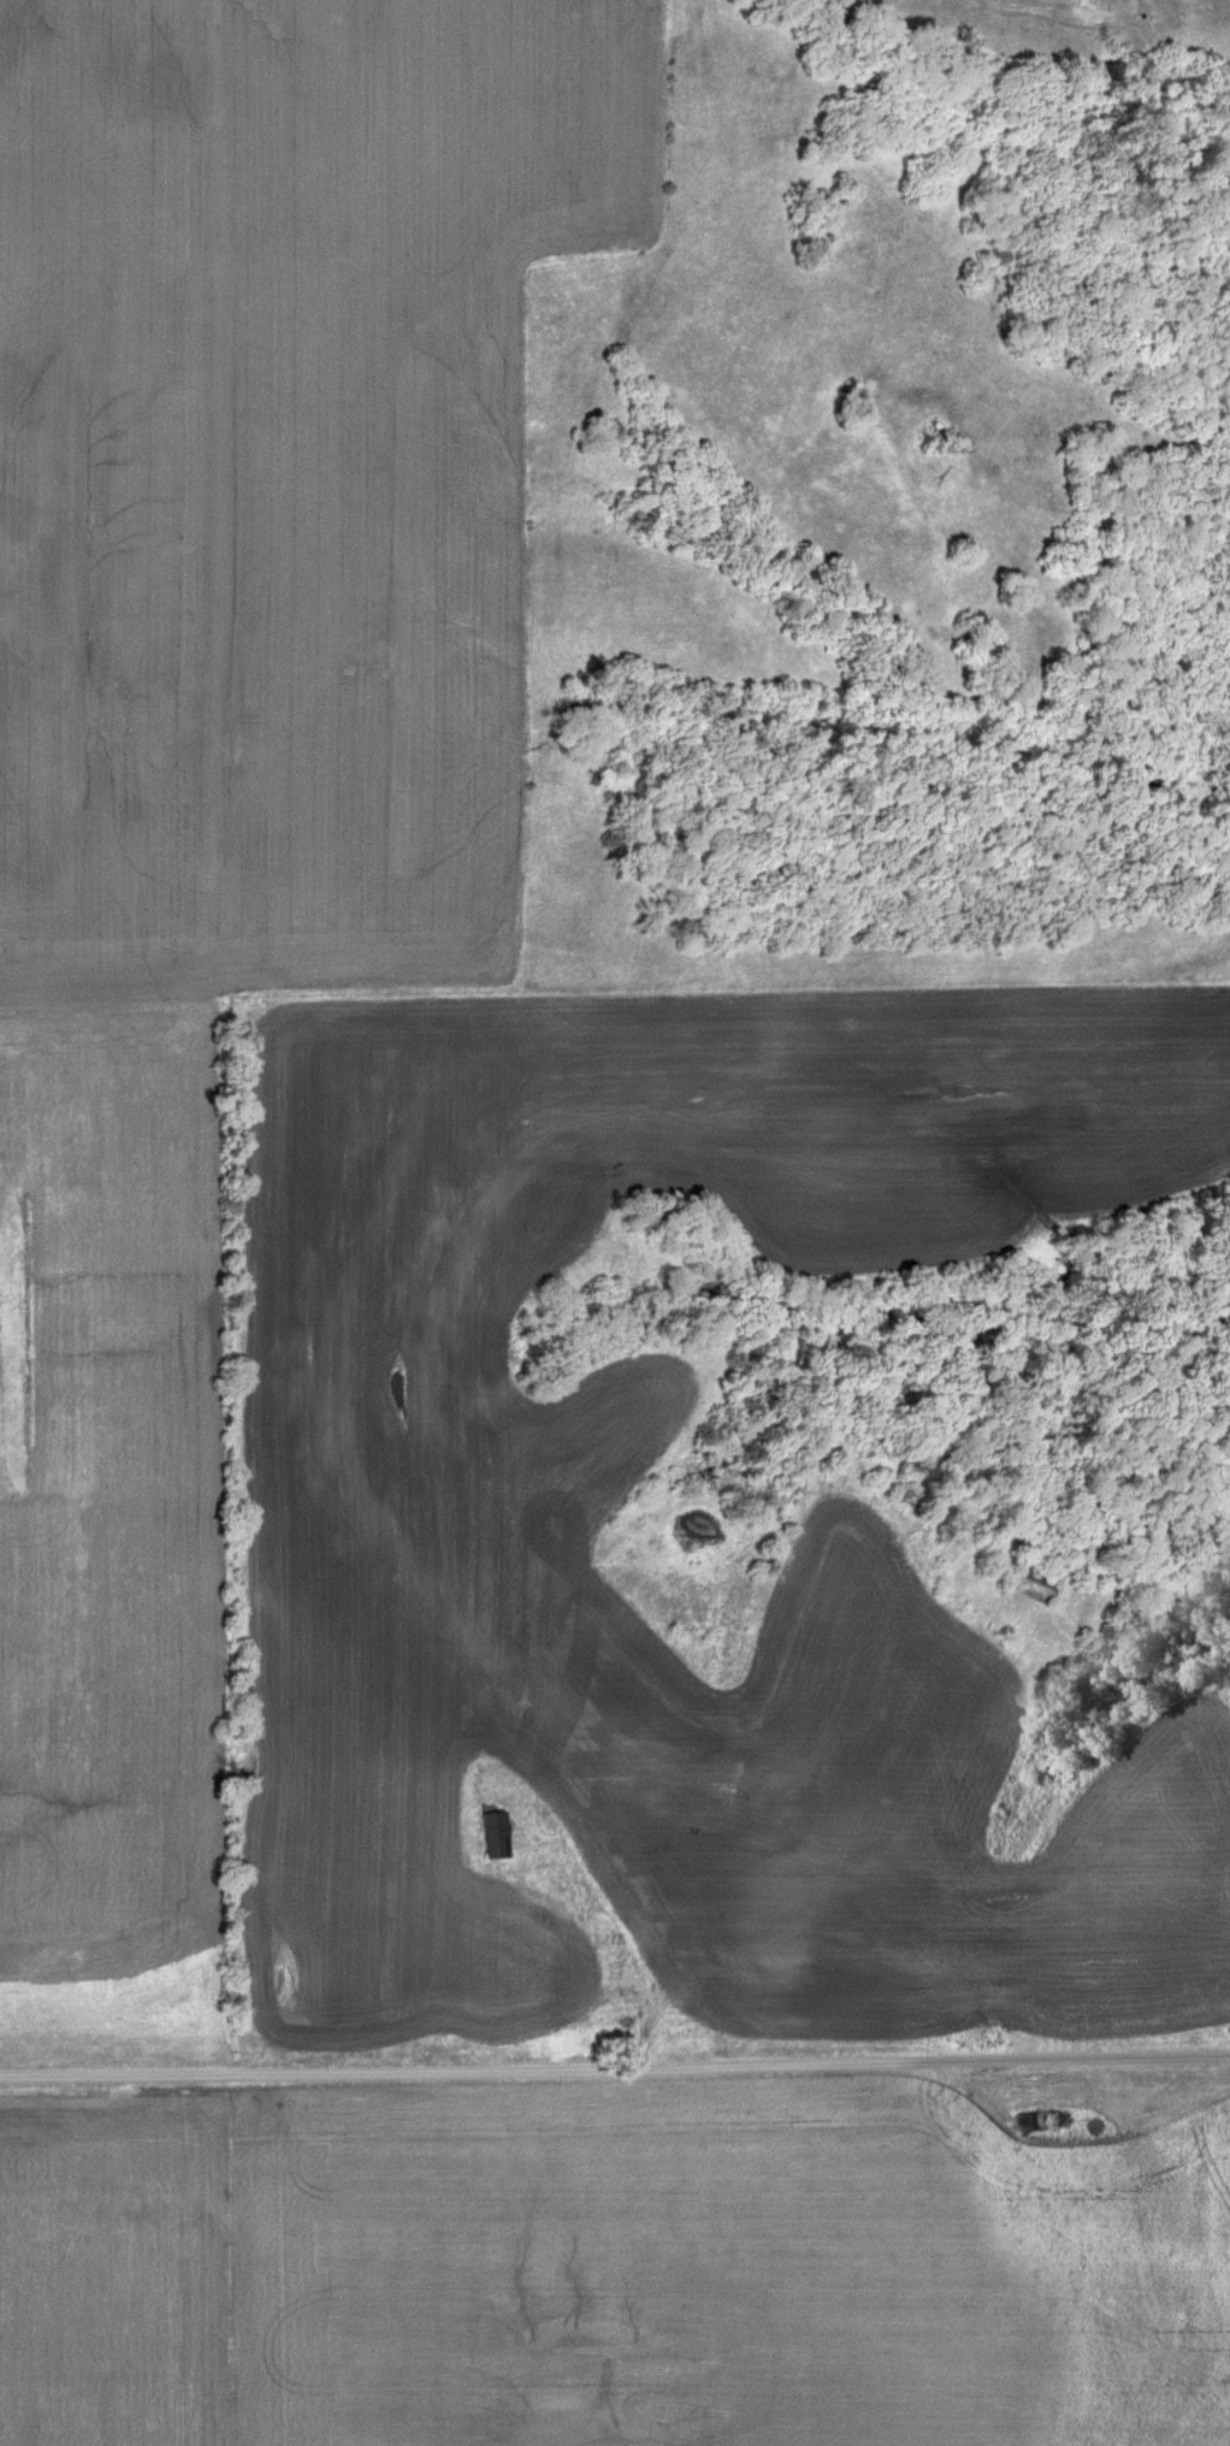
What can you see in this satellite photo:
building: (1034, 1573)
building: (491, 1836)
building: (802, 1845)
building: (687, 1877)
road: (615, 2074)
building: (1039, 2120)

